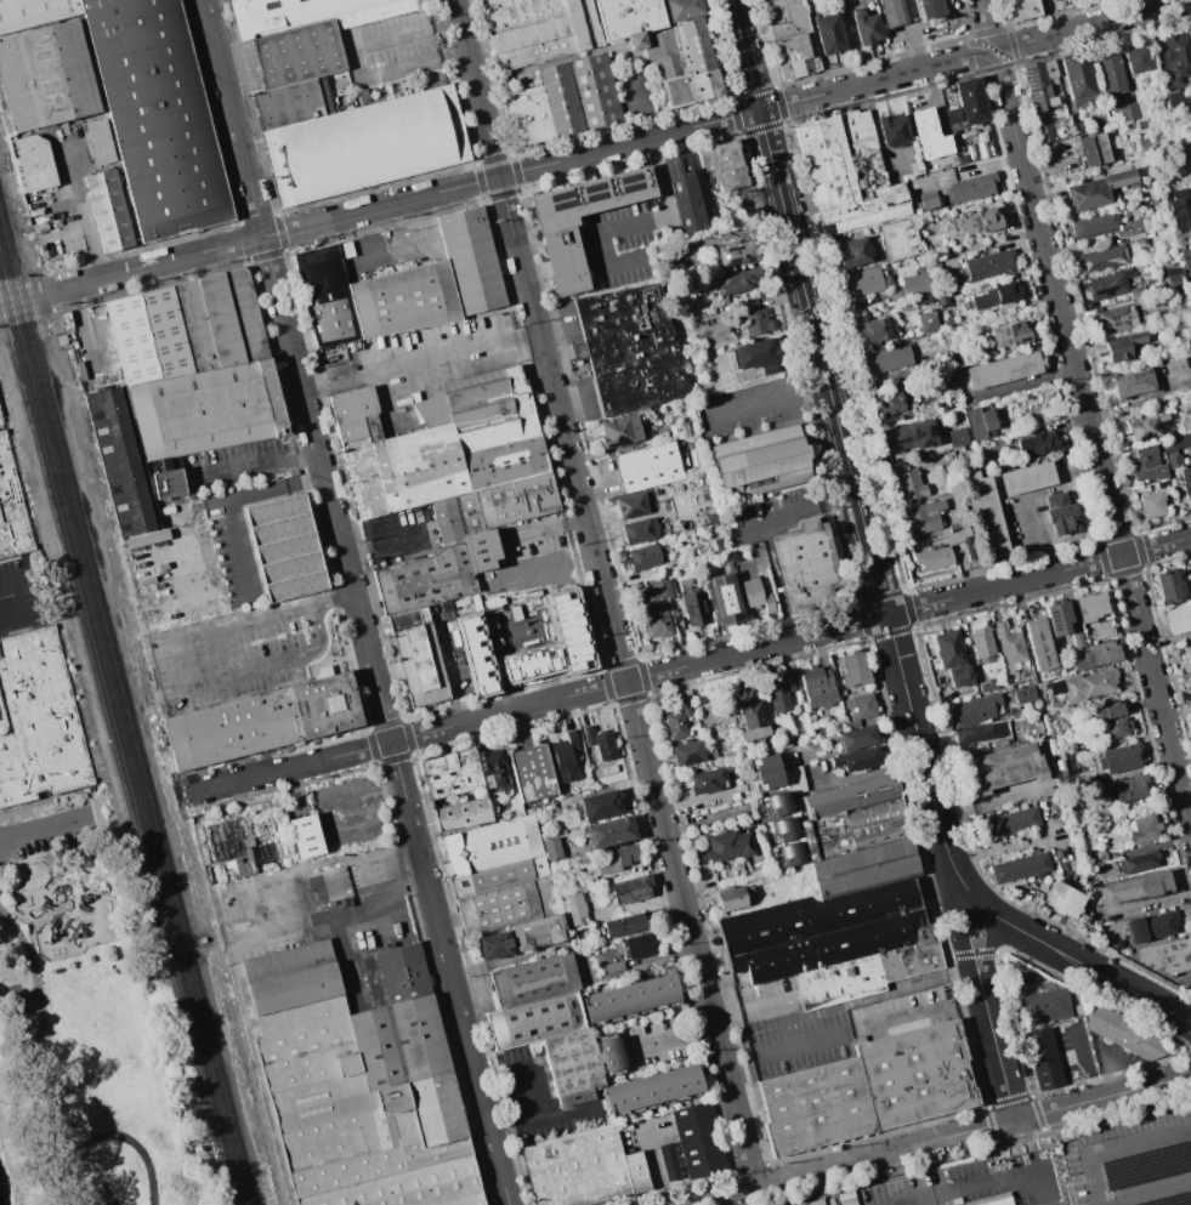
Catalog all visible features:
building: (1053, 0)
building: (930, 8)
building: (1021, 8)
building: (34, 12)
building: (891, 12)
building: (310, 13)
building: (629, 19)
road: (987, 22)
road: (1094, 23)
building: (864, 25)
building: (538, 28)
building: (829, 33)
building: (789, 36)
road: (994, 49)
building: (299, 53)
building: (1178, 53)
building: (684, 55)
building: (1138, 58)
road: (358, 59)
building: (1077, 74)
building: (1111, 74)
building: (45, 75)
rooftop solar panel: (1030, 81)
building: (1039, 84)
building: (596, 92)
building: (1178, 97)
building: (971, 100)
building: (561, 101)
building: (288, 103)
building: (1128, 110)
building: (157, 114)
building: (953, 115)
building: (528, 118)
building: (891, 130)
building: (1053, 131)
building: (929, 133)
building: (98, 141)
building: (365, 144)
building: (1093, 148)
building: (962, 158)
building: (36, 161)
building: (722, 164)
rooftop solar panel: (671, 165)
road: (521, 171)
building: (847, 172)
rooftop solar panel: (630, 180)
rooftop solar panel: (237, 181)
building: (970, 187)
building: (1095, 189)
rooftop solar panel: (591, 191)
rooftop solar panel: (630, 191)
building: (684, 193)
rooftop solar panel: (594, 197)
rooftop solar panel: (558, 198)
building: (929, 201)
building: (112, 206)
building: (1179, 208)
rooftop solar panel: (561, 209)
building: (977, 221)
road: (640, 223)
building: (1095, 224)
road: (91, 229)
building: (1181, 238)
building: (898, 239)
road: (409, 243)
building: (852, 251)
building: (736, 252)
building: (1185, 256)
building: (563, 257)
building: (1102, 258)
building: (472, 261)
building: (989, 265)
building: (1174, 272)
building: (737, 280)
building: (866, 282)
building: (914, 282)
building: (1113, 283)
rooftop solar panel: (1107, 292)
building: (325, 295)
building: (996, 295)
road: (25, 296)
building: (941, 296)
building: (923, 299)
building: (404, 300)
road: (1059, 303)
railway: (32, 309)
building: (246, 314)
building: (753, 318)
building: (221, 319)
building: (1115, 319)
building: (926, 322)
building: (948, 323)
building: (195, 324)
building: (877, 329)
rooftop solar panel: (1004, 332)
building: (1009, 332)
building: (149, 335)
rooftop solar panel: (1023, 342)
rooftop solar panel: (1006, 343)
building: (1121, 345)
building: (630, 348)
road: (418, 352)
building: (985, 353)
road: (458, 356)
building: (755, 356)
building: (886, 358)
building: (1003, 369)
road: (412, 373)
building: (945, 376)
building: (1132, 382)
road: (385, 392)
building: (521, 399)
road: (770, 399)
building: (894, 403)
building: (206, 409)
building: (1, 410)
building: (481, 410)
building: (357, 416)
building: (887, 421)
building: (980, 421)
building: (1185, 425)
building: (1147, 427)
rooftop solar panel: (1156, 428)
building: (618, 431)
building: (909, 434)
building: (957, 437)
rooftop solar panel: (1146, 437)
building: (1178, 442)
building: (1037, 443)
road: (317, 444)
road: (846, 455)
building: (127, 459)
building: (760, 460)
building: (1173, 460)
road: (259, 461)
building: (1146, 464)
building: (647, 467)
building: (435, 468)
building: (1027, 477)
building: (168, 483)
building: (909, 484)
building: (1186, 484)
road: (227, 499)
building: (1153, 499)
building: (507, 502)
building: (635, 502)
building: (13, 506)
rooftop solar panel: (653, 506)
road: (798, 510)
road: (585, 513)
building: (1060, 513)
building: (421, 515)
rooftop solar panel: (634, 515)
building: (710, 516)
building: (924, 516)
building: (989, 517)
building: (958, 525)
road: (549, 528)
building: (639, 530)
road: (385, 536)
road: (1033, 538)
building: (718, 544)
building: (285, 546)
building: (483, 548)
building: (945, 551)
building: (733, 555)
building: (645, 556)
building: (809, 565)
building: (426, 579)
building: (1168, 586)
building: (668, 590)
building: (755, 595)
road: (341, 596)
building: (720, 599)
road: (10, 601)
building: (1090, 606)
building: (693, 608)
rooftop solar panel: (1054, 615)
rooftop solar panel: (738, 616)
building: (1056, 618)
building: (1178, 618)
rooftop solar panel: (726, 621)
building: (657, 623)
building: (1101, 633)
building: (1076, 637)
road: (790, 638)
building: (981, 642)
building: (1038, 643)
building: (467, 646)
building: (1010, 647)
parking lot: (245, 648)
building: (949, 649)
building: (1096, 654)
building: (1186, 655)
building: (544, 658)
building: (420, 666)
building: (853, 669)
road: (181, 670)
building: (959, 676)
building: (1189, 678)
building: (1083, 684)
building: (817, 686)
building: (986, 686)
road: (1157, 687)
building: (781, 692)
building: (1023, 694)
building: (325, 704)
building: (858, 709)
building: (974, 709)
building: (1107, 711)
railway: (125, 714)
building: (750, 716)
building: (677, 720)
building: (39, 721)
building: (1115, 727)
building: (232, 728)
building: (979, 733)
railway: (119, 734)
building: (857, 737)
building: (600, 741)
building: (686, 752)
railway: (114, 754)
rooftop solar panel: (690, 756)
building: (565, 757)
building: (1118, 757)
building: (856, 758)
building: (1004, 766)
road: (291, 767)
building: (492, 768)
building: (608, 769)
building: (767, 771)
building: (532, 772)
building: (450, 773)
road: (861, 775)
building: (795, 778)
building: (704, 779)
building: (1128, 786)
building: (852, 795)
building: (600, 805)
building: (777, 805)
road: (324, 808)
building: (460, 811)
building: (1009, 819)
building: (783, 829)
building: (856, 829)
building: (1142, 829)
road: (46, 830)
building: (609, 831)
parking lot: (47, 835)
building: (307, 836)
building: (490, 845)
building: (727, 845)
building: (551, 848)
road: (1005, 851)
building: (789, 854)
building: (616, 858)
building: (1138, 862)
building: (1020, 866)
building: (866, 868)
building: (499, 875)
building: (1136, 887)
building: (630, 888)
building: (733, 897)
building: (1062, 898)
rooftop solar panel: (891, 903)
building: (498, 906)
building: (574, 908)
road: (988, 911)
rooftop solar panel: (914, 915)
building: (623, 923)
building: (1150, 926)
building: (538, 931)
building: (819, 931)
rooftop solar panel: (892, 931)
building: (493, 945)
building: (640, 945)
road: (966, 949)
building: (1125, 951)
road: (987, 954)
road: (1064, 954)
building: (1167, 955)
building: (870, 971)
building: (396, 974)
building: (290, 977)
building: (533, 981)
road: (879, 994)
building: (631, 996)
road: (1159, 1005)
building: (1044, 1006)
road: (786, 1011)
building: (537, 1019)
park: (83, 1029)
building: (1123, 1033)
road: (674, 1036)
building: (399, 1041)
road: (470, 1047)
road: (777, 1051)
building: (612, 1055)
road: (998, 1056)
building: (1043, 1058)
building: (572, 1062)
road: (527, 1068)
road: (1113, 1073)
building: (869, 1089)
building: (653, 1090)
road: (1123, 1091)
road: (85, 1092)
road: (507, 1093)
building: (331, 1101)
road: (16, 1105)
road: (735, 1107)
road: (1037, 1114)
building: (438, 1116)
road: (541, 1118)
building: (699, 1139)
road: (1115, 1146)
building: (668, 1161)
road: (849, 1163)
road: (1026, 1164)
rooftop solar panel: (1150, 1164)
building: (583, 1170)
building: (404, 1186)
road: (986, 1186)
road: (1144, 1189)
building: (464, 1200)
building: (993, 1200)
rooftop solar panel: (1173, 1203)
road: (1098, 1204)

